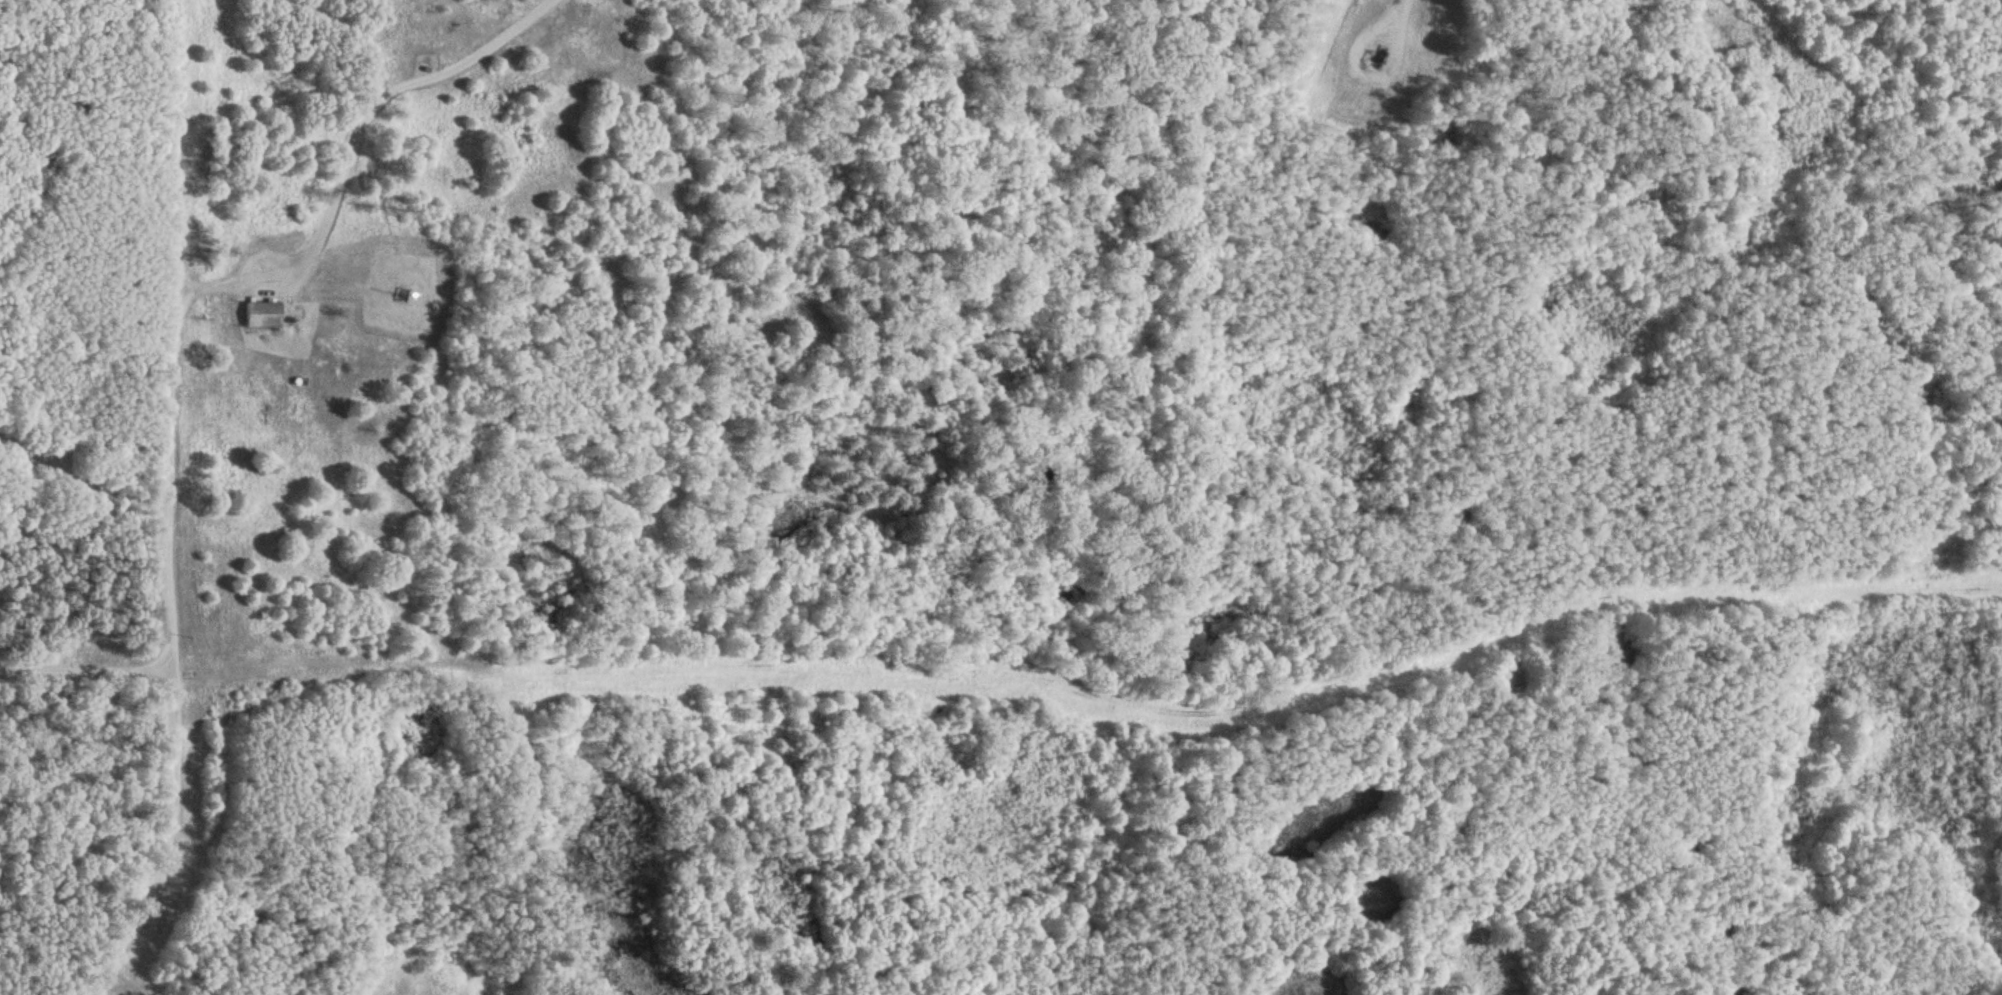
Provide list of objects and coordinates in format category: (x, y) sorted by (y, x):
petroleum well: (1362, 52)
road: (469, 63)
road: (356, 150)
building: (262, 315)
road: (82, 485)
road: (175, 506)
road: (87, 671)
road: (122, 986)

